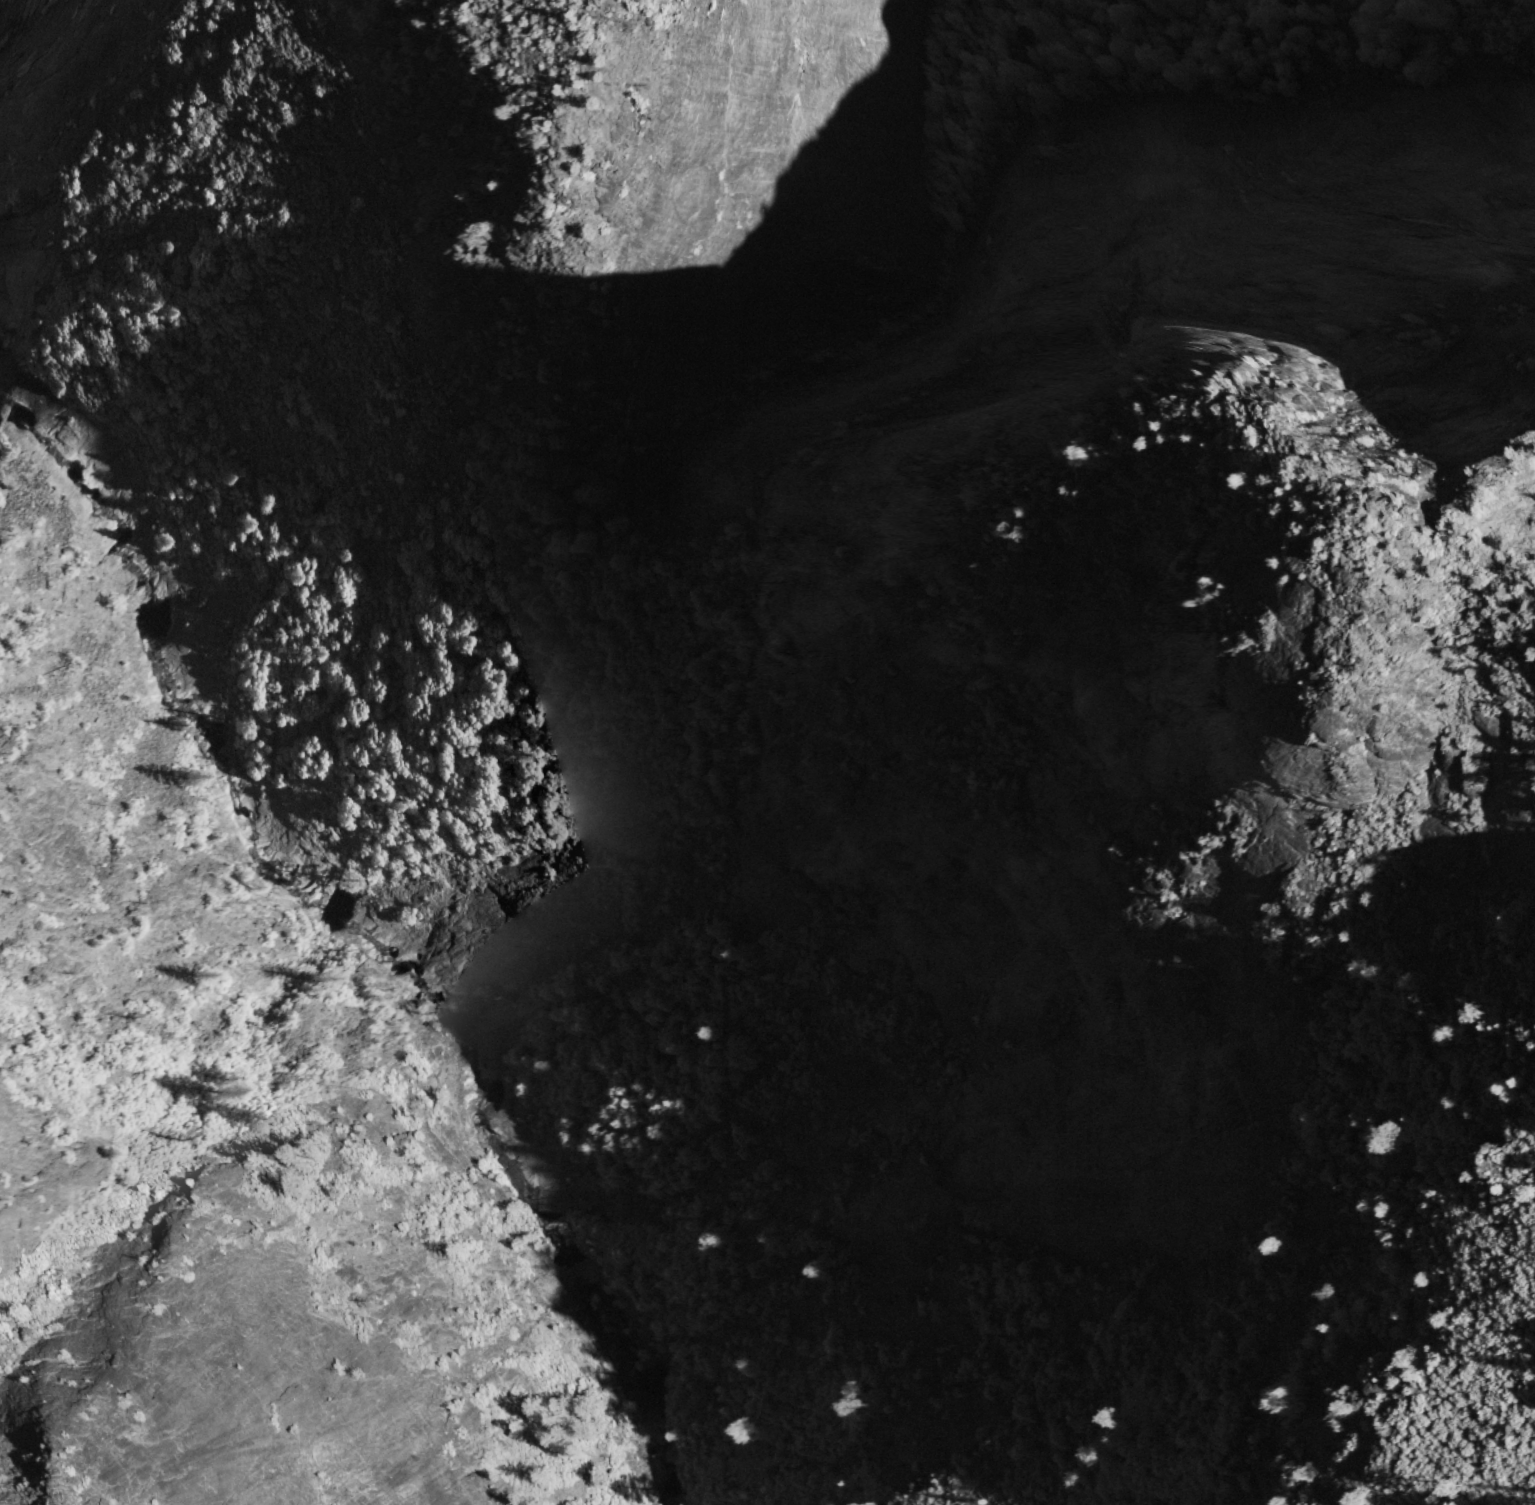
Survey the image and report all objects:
road: (829, 208)
road: (629, 416)

